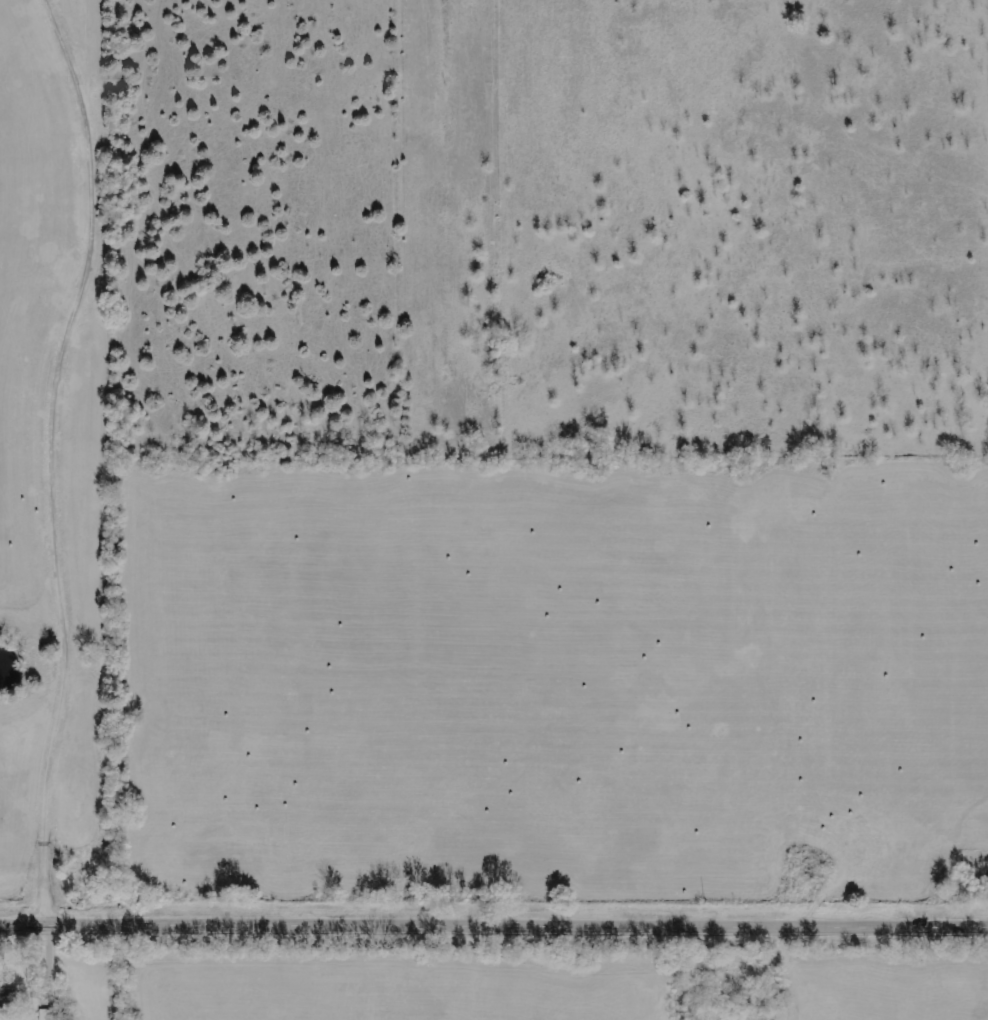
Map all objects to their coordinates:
road: (494, 929)
building: (8, 997)
building: (47, 1014)

